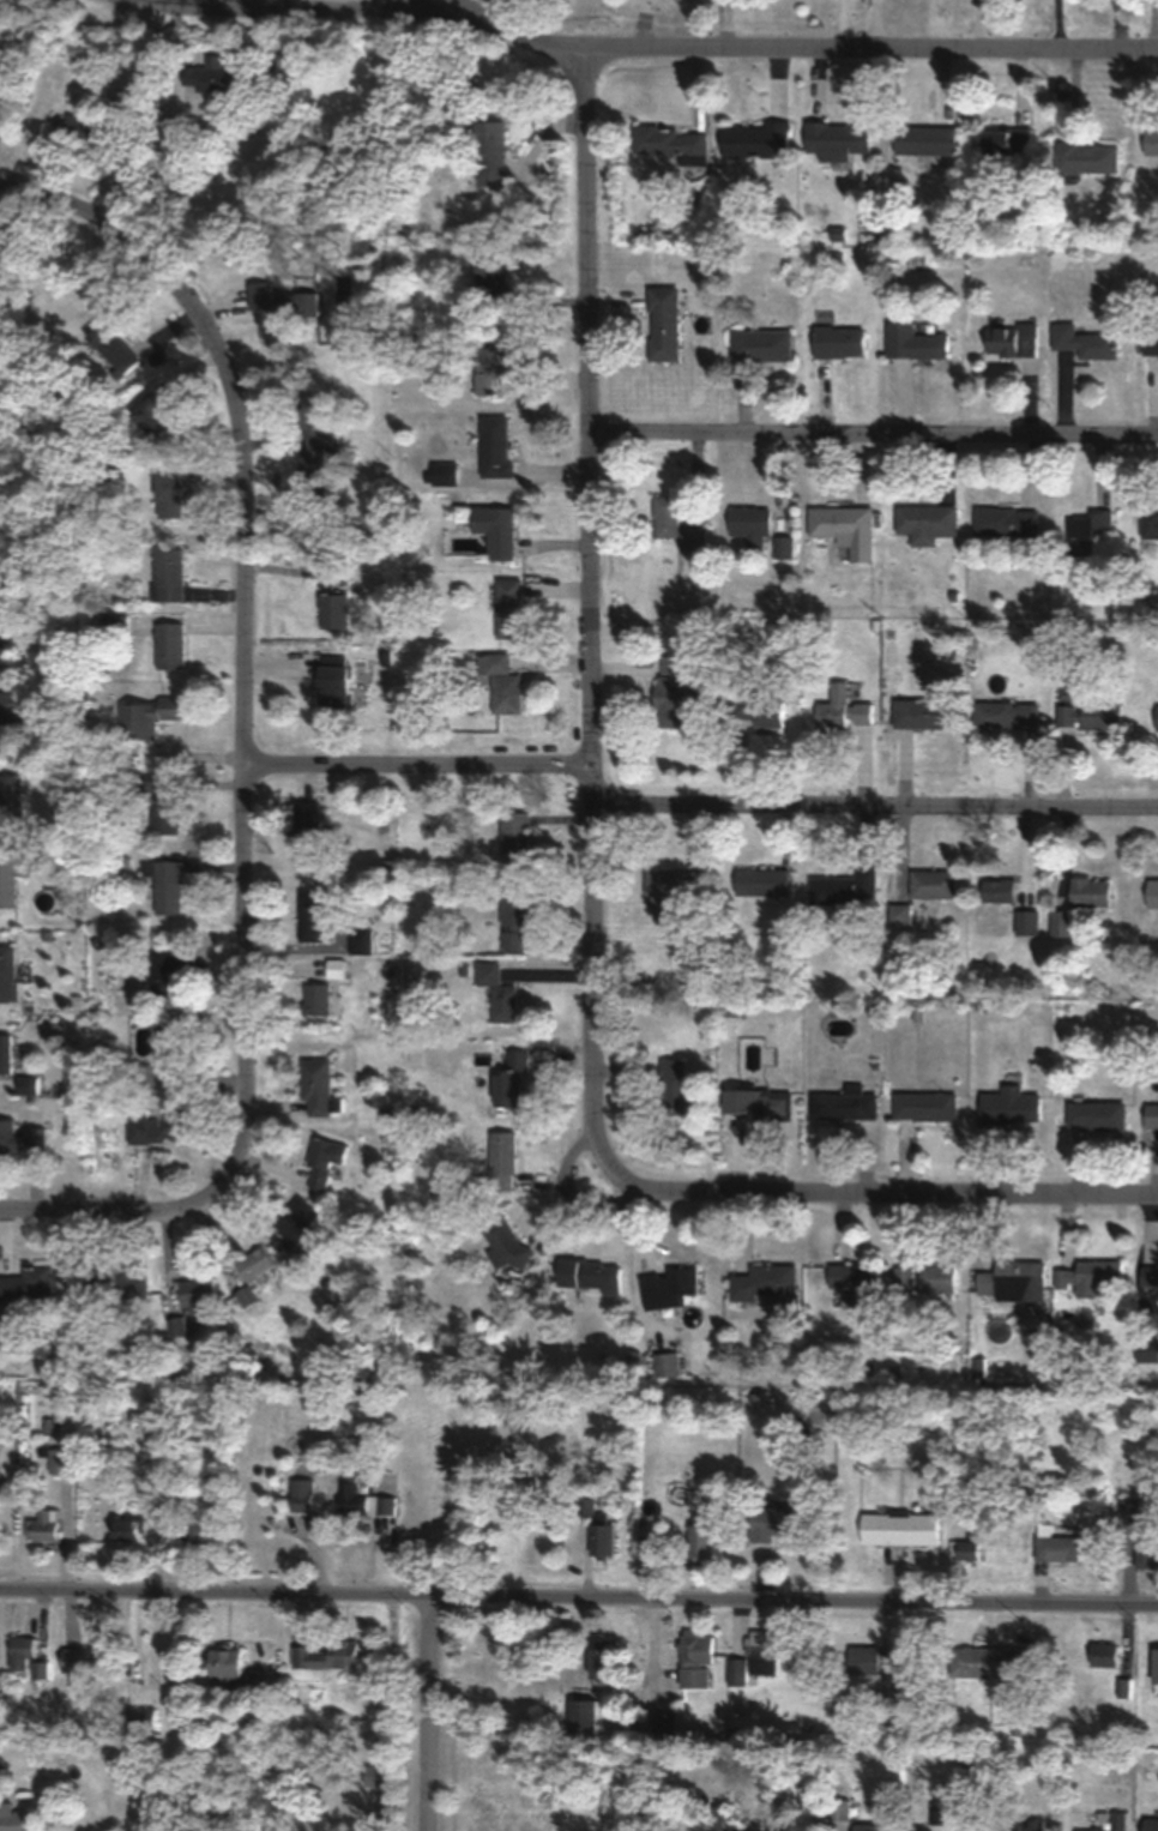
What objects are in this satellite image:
road: (427, 10)
road: (629, 54)
building: (216, 77)
building: (66, 125)
building: (754, 139)
building: (836, 139)
building: (925, 139)
building: (1150, 140)
building: (668, 141)
building: (1007, 143)
building: (490, 151)
building: (1086, 156)
road: (86, 216)
building: (2, 247)
building: (263, 295)
building: (301, 303)
building: (663, 321)
building: (1009, 338)
building: (838, 341)
building: (1082, 341)
building: (915, 342)
building: (1150, 343)
building: (760, 344)
building: (114, 348)
building: (493, 367)
building: (152, 417)
building: (315, 432)
road: (874, 440)
building: (495, 446)
building: (169, 487)
building: (839, 520)
building: (1006, 520)
building: (925, 522)
building: (1148, 523)
building: (675, 524)
building: (750, 528)
building: (493, 529)
building: (1086, 530)
building: (784, 547)
building: (168, 574)
building: (334, 574)
building: (508, 608)
building: (334, 610)
road: (591, 633)
building: (170, 645)
building: (332, 681)
building: (500, 681)
building: (673, 691)
building: (833, 709)
building: (758, 711)
building: (915, 712)
building: (1006, 713)
building: (1090, 713)
building: (146, 716)
building: (1157, 717)
road: (245, 736)
road: (418, 773)
building: (11, 794)
building: (164, 802)
road: (875, 811)
building: (304, 833)
building: (512, 837)
building: (7, 880)
building: (760, 880)
building: (670, 884)
building: (933, 884)
building: (167, 886)
building: (844, 889)
building: (999, 890)
building: (1090, 892)
building: (1152, 892)
building: (310, 914)
building: (512, 922)
building: (1027, 922)
building: (1063, 923)
building: (360, 940)
building: (336, 968)
building: (165, 971)
building: (7, 972)
building: (496, 992)
building: (315, 999)
building: (6, 1053)
building: (165, 1064)
building: (509, 1079)
building: (671, 1086)
building: (316, 1088)
building: (758, 1102)
building: (843, 1103)
building: (927, 1106)
building: (1011, 1108)
building: (1097, 1114)
building: (1151, 1114)
building: (161, 1126)
building: (20, 1137)
building: (501, 1161)
building: (324, 1162)
road: (898, 1199)
road: (97, 1210)
building: (292, 1223)
building: (503, 1242)
building: (1148, 1273)
building: (251, 1275)
building: (906, 1276)
building: (589, 1277)
building: (939, 1278)
building: (1091, 1278)
building: (1014, 1281)
building: (107, 1282)
building: (765, 1282)
building: (856, 1283)
building: (28, 1287)
building: (668, 1288)
building: (195, 1294)
building: (1148, 1350)
building: (665, 1363)
building: (302, 1494)
building: (354, 1495)
building: (386, 1504)
building: (777, 1522)
building: (43, 1524)
building: (125, 1526)
building: (194, 1528)
building: (900, 1528)
building: (967, 1535)
building: (700, 1536)
building: (601, 1538)
building: (1147, 1542)
building: (671, 1543)
building: (1057, 1546)
road: (578, 1598)
building: (20, 1651)
building: (326, 1655)
building: (1103, 1655)
building: (83, 1658)
building: (755, 1658)
building: (694, 1660)
building: (869, 1660)
building: (224, 1662)
building: (601, 1662)
building: (989, 1662)
building: (1154, 1666)
road: (433, 1713)
building: (581, 1717)
building: (663, 1724)
building: (375, 1776)
building: (839, 1809)
building: (940, 1813)
building: (13, 1819)
building: (714, 1821)
building: (1114, 1821)
building: (1021, 1824)
building: (1148, 1824)
building: (866, 1826)
building: (918, 1830)

